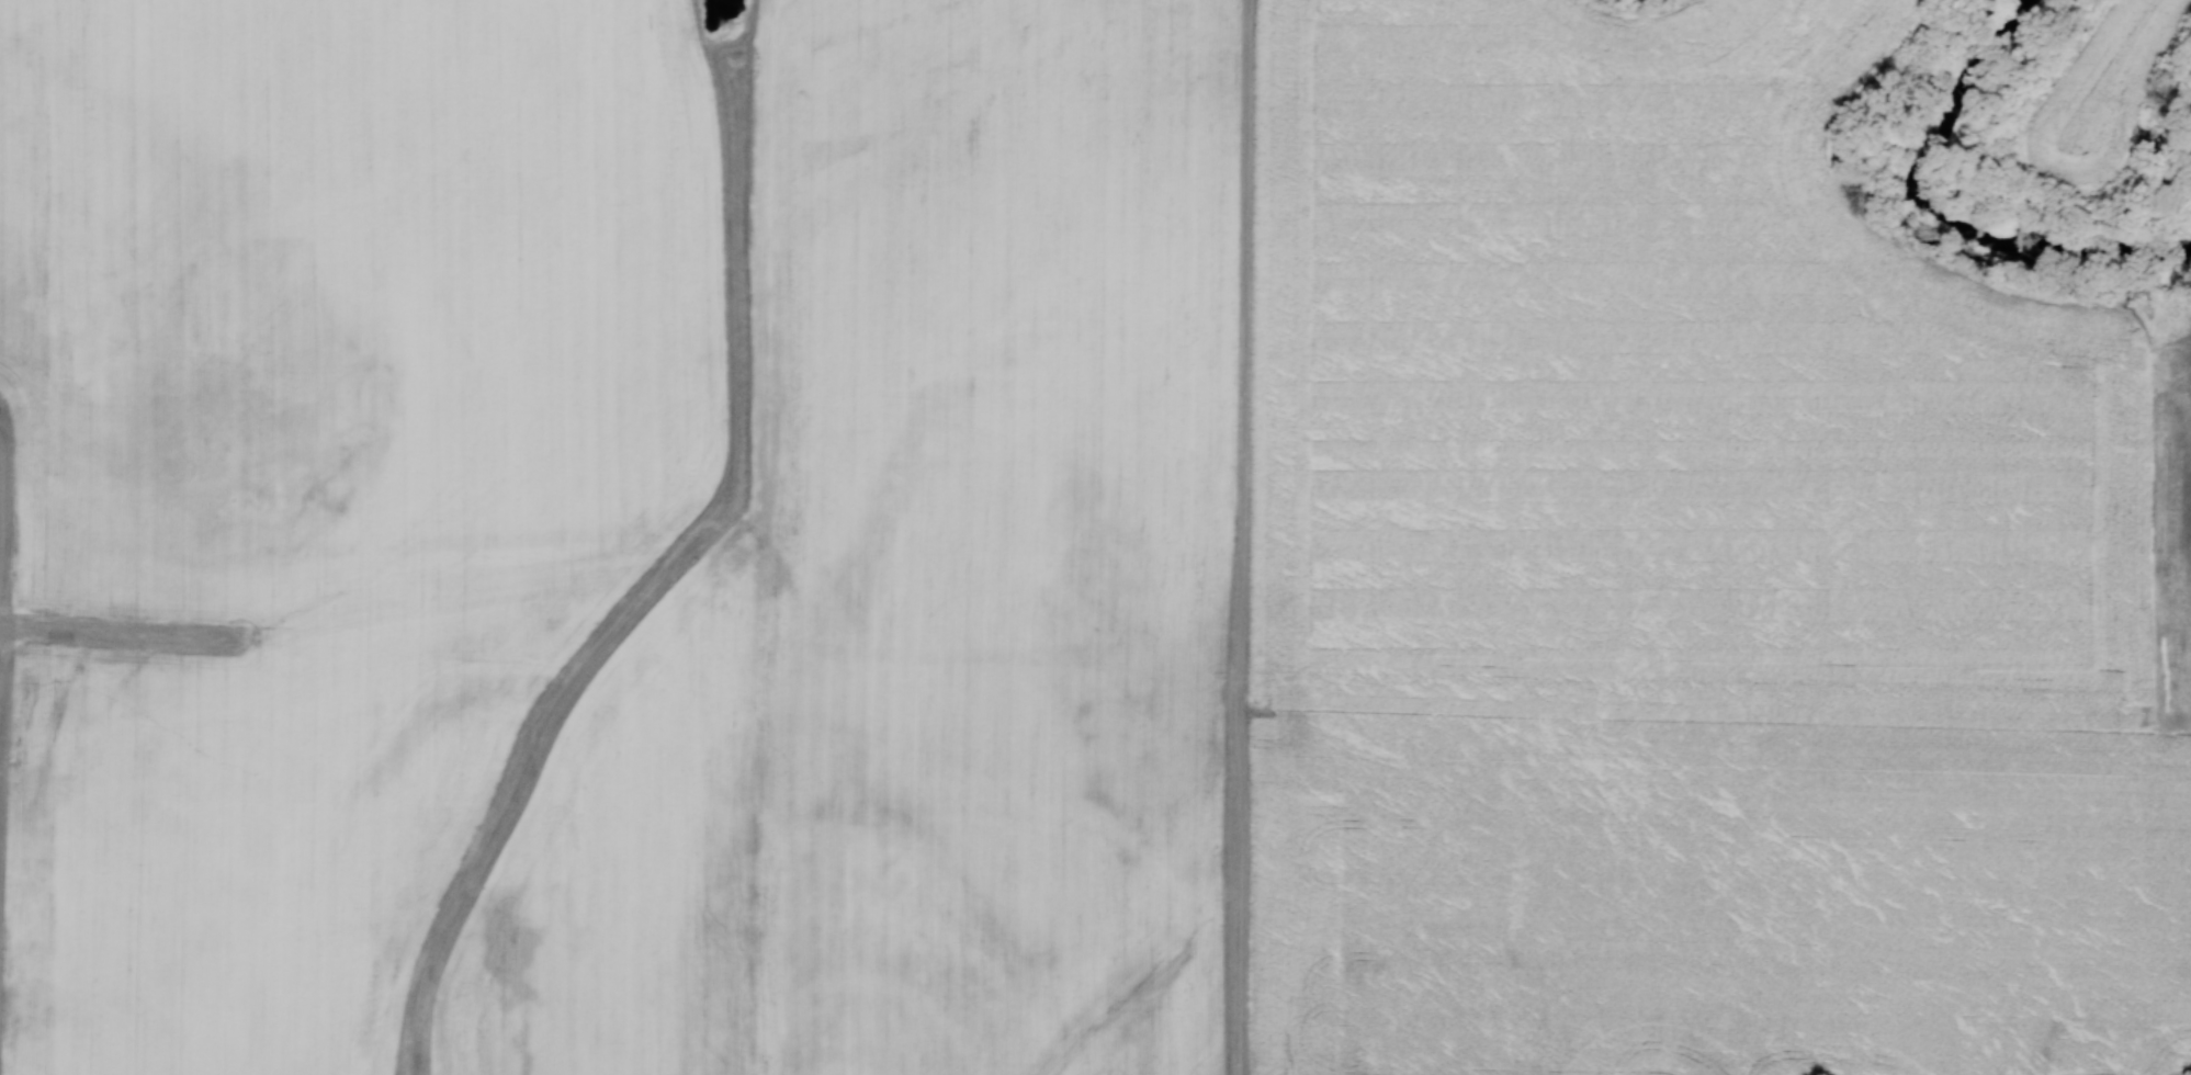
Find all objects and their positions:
river: (1927, 225)

